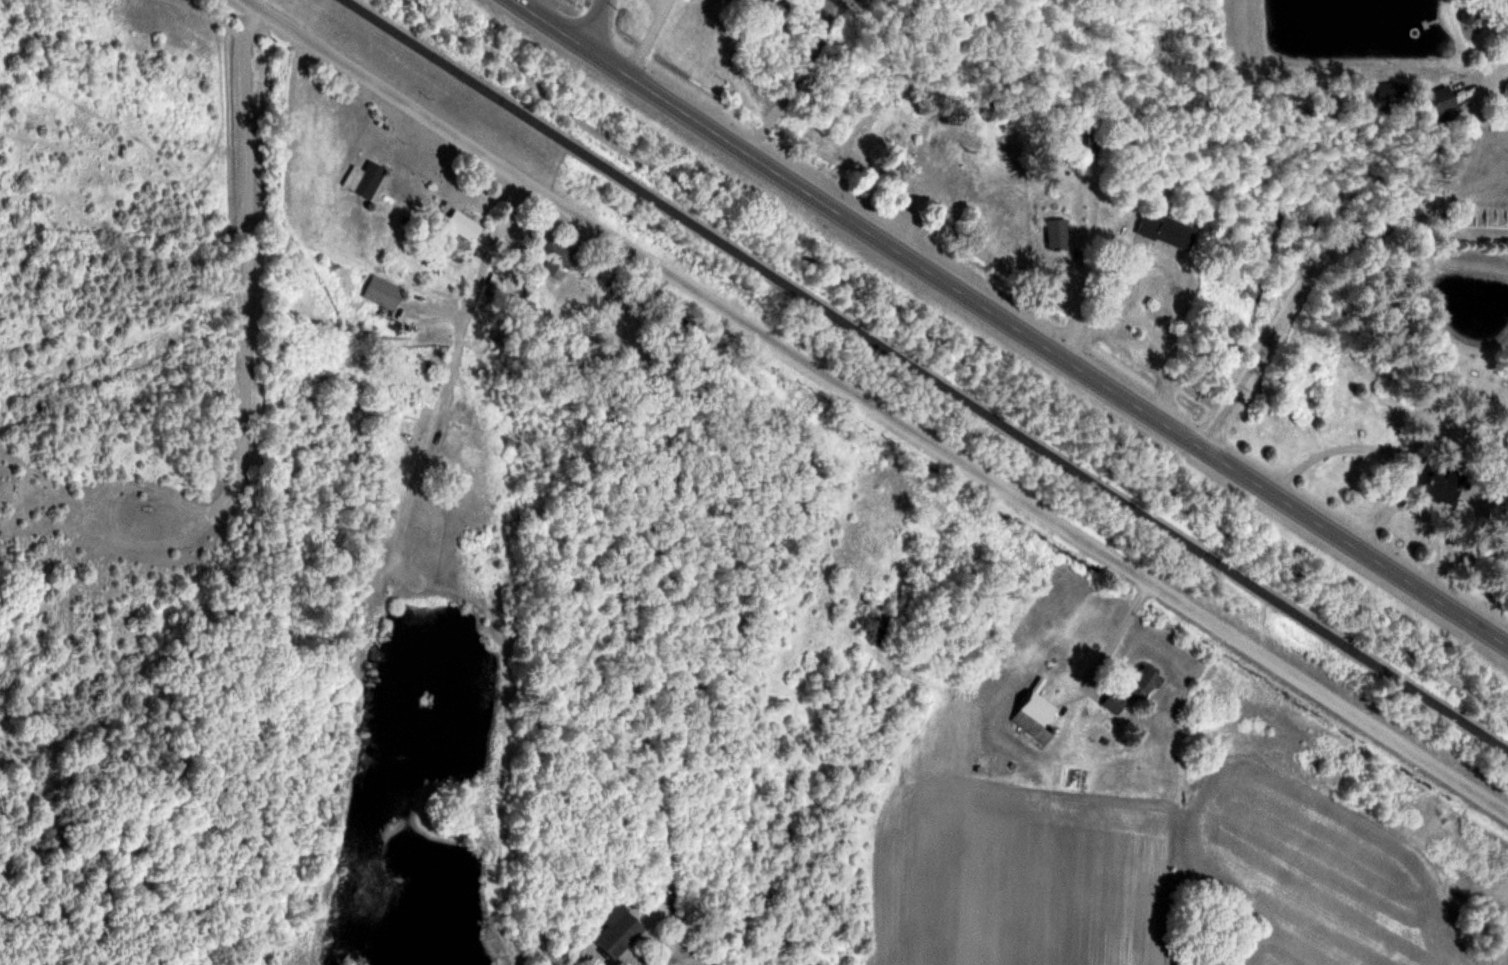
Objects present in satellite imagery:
road: (262, 8)
road: (594, 23)
building: (1439, 100)
building: (364, 179)
building: (463, 226)
building: (1168, 231)
building: (1057, 233)
road: (1123, 257)
building: (556, 258)
building: (383, 293)
road: (1011, 323)
road: (927, 374)
road: (892, 414)
building: (1443, 485)
building: (1144, 684)
building: (1113, 704)
building: (1035, 716)
building: (618, 930)

